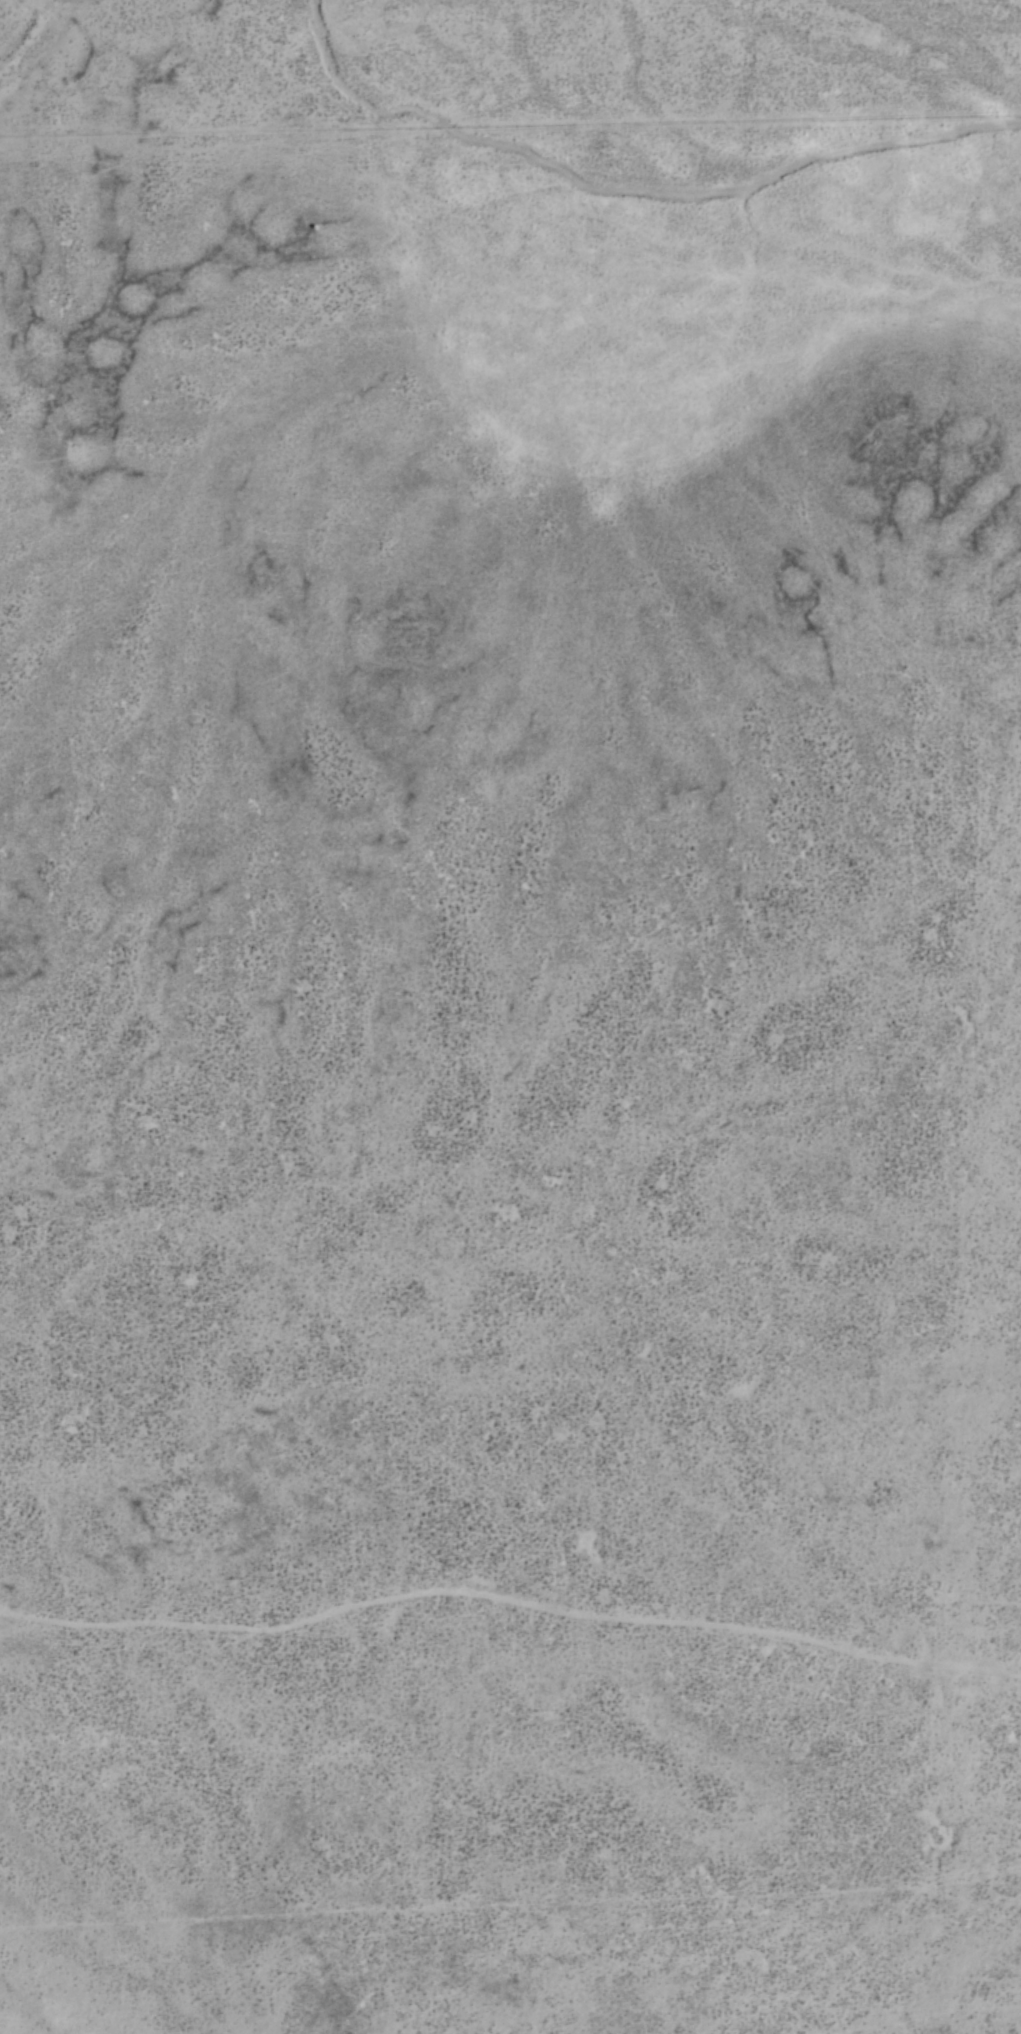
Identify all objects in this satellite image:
road: (511, 1597)

